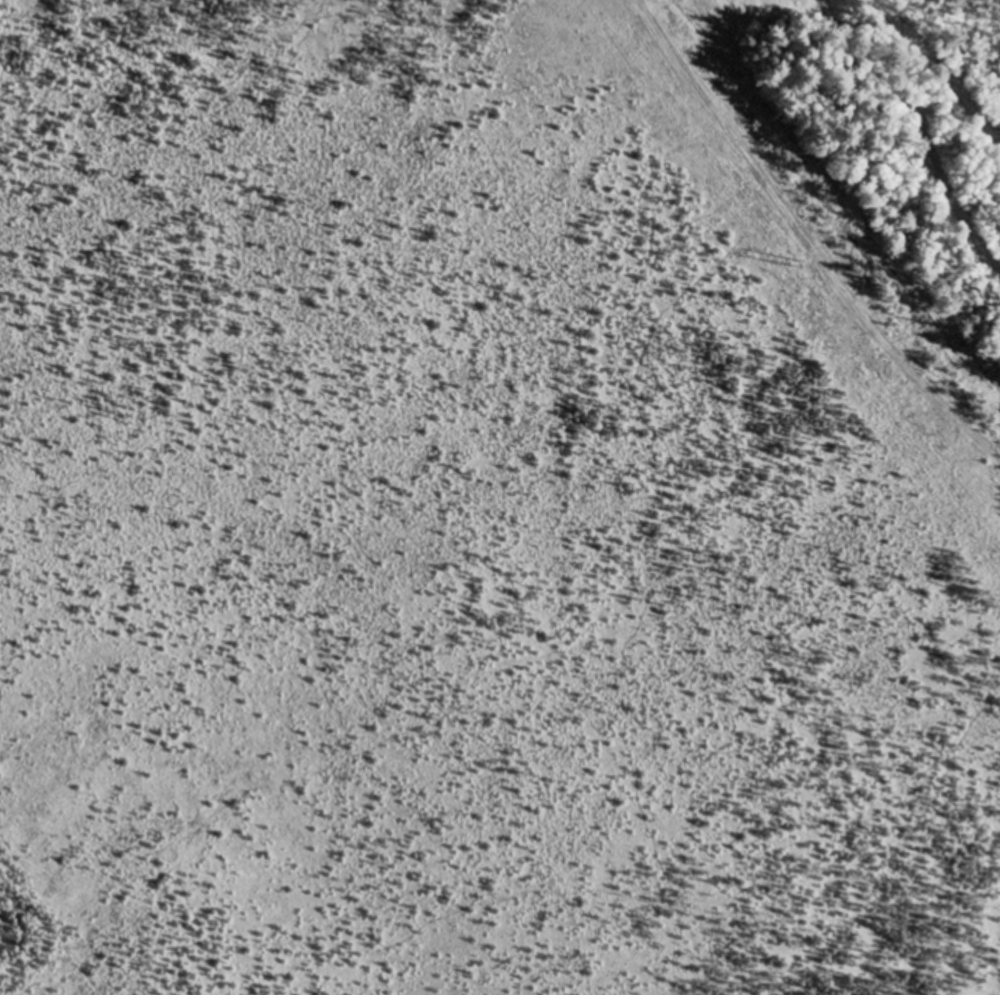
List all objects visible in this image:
road: (819, 3)
road: (915, 134)
power tower: (795, 259)

